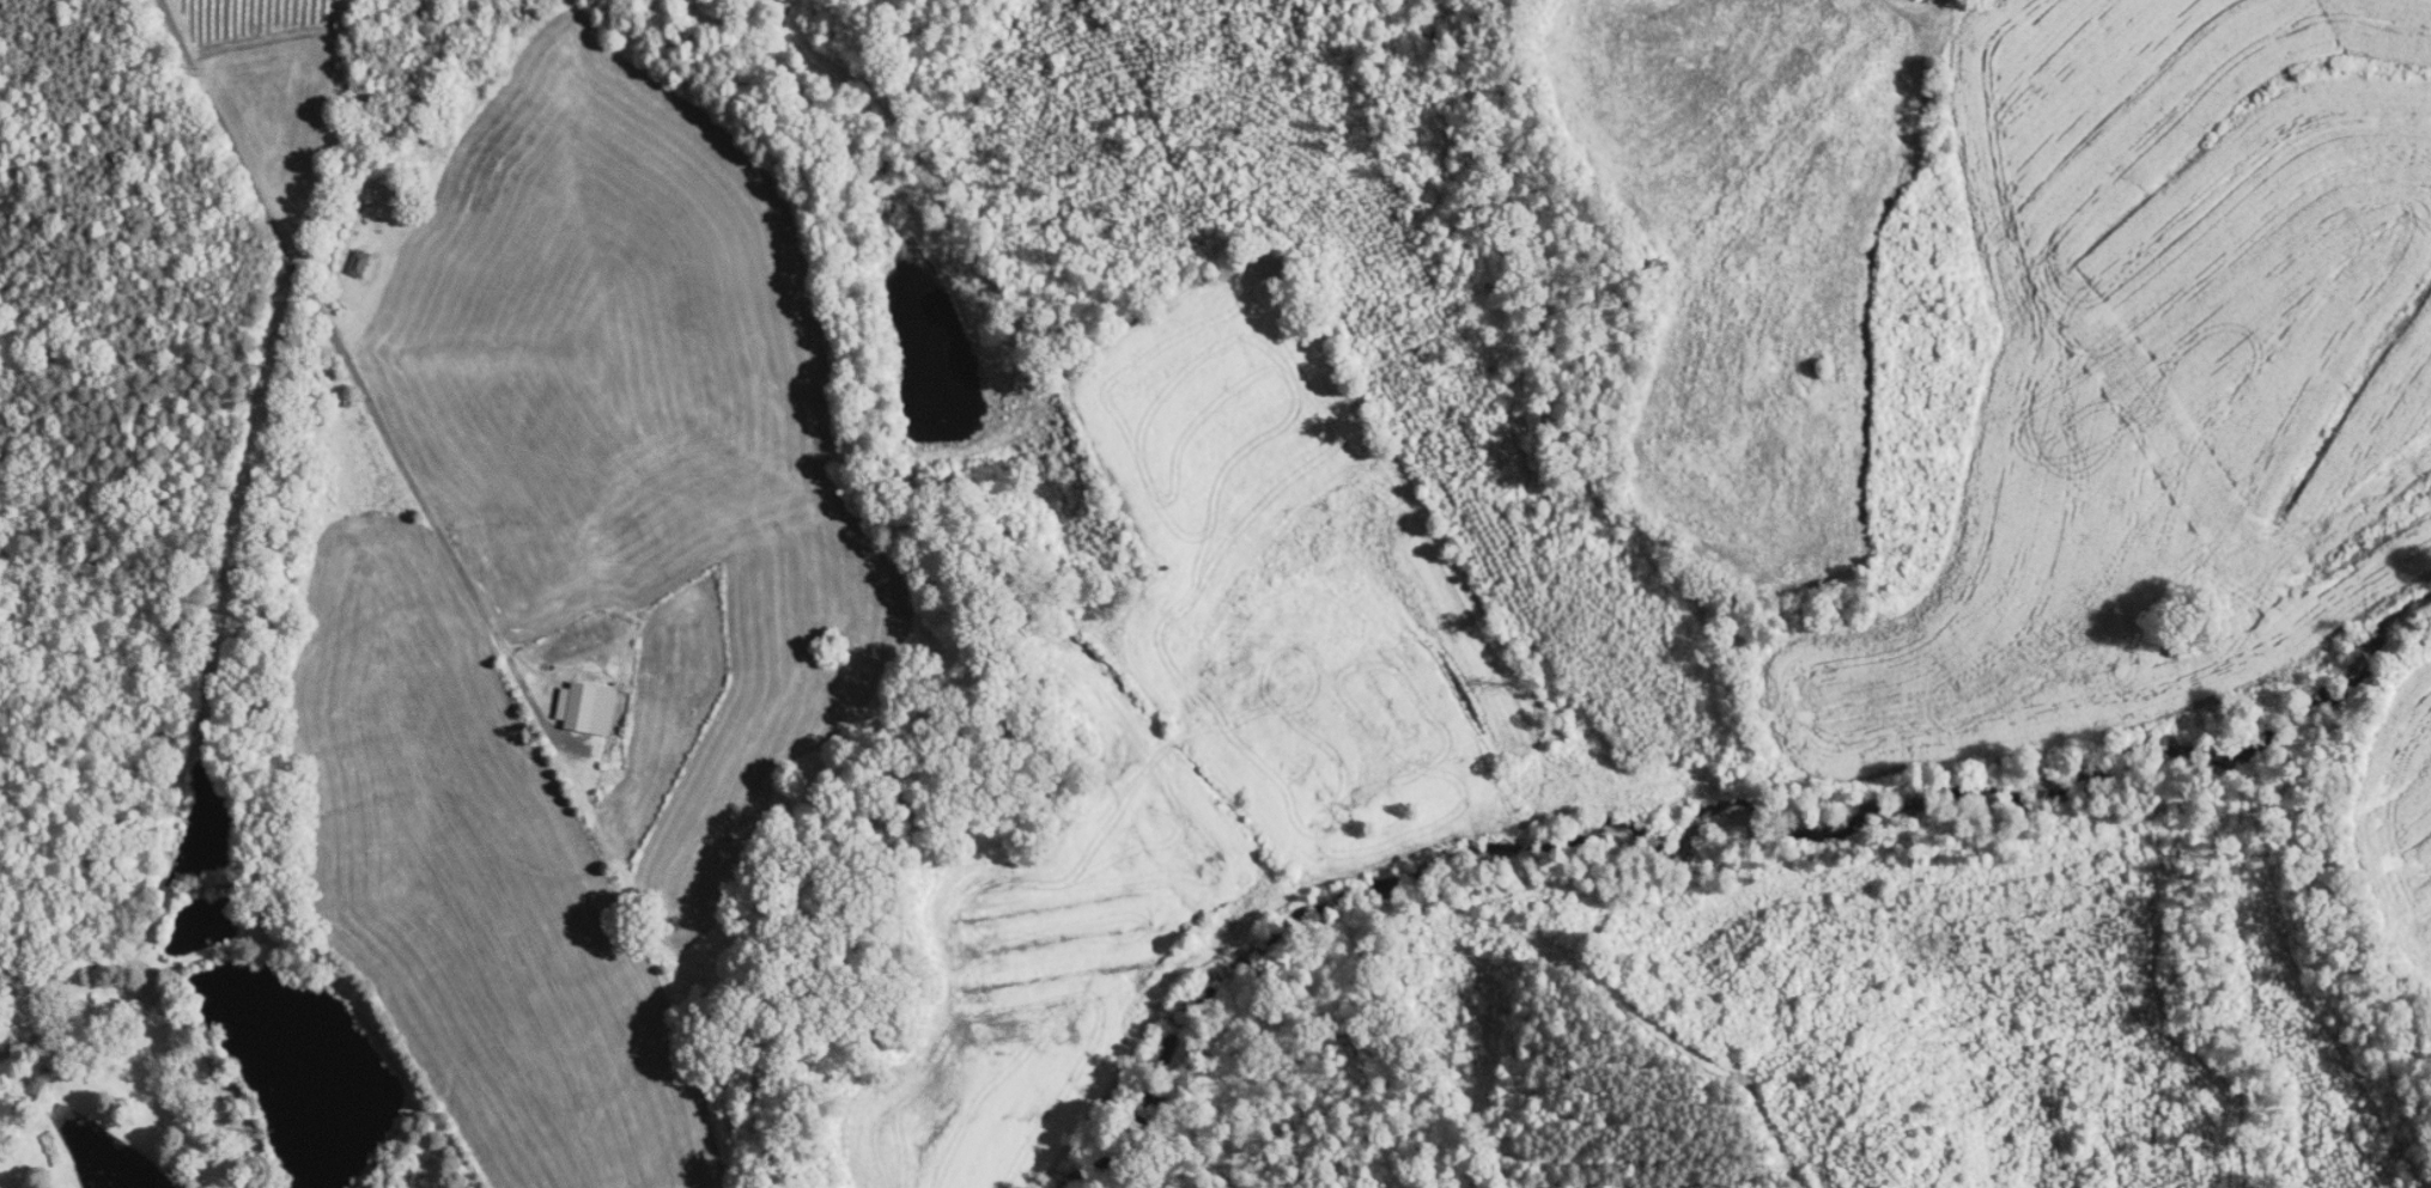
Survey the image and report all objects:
building: (359, 263)
road: (351, 364)
building: (584, 707)
road: (68, 962)

